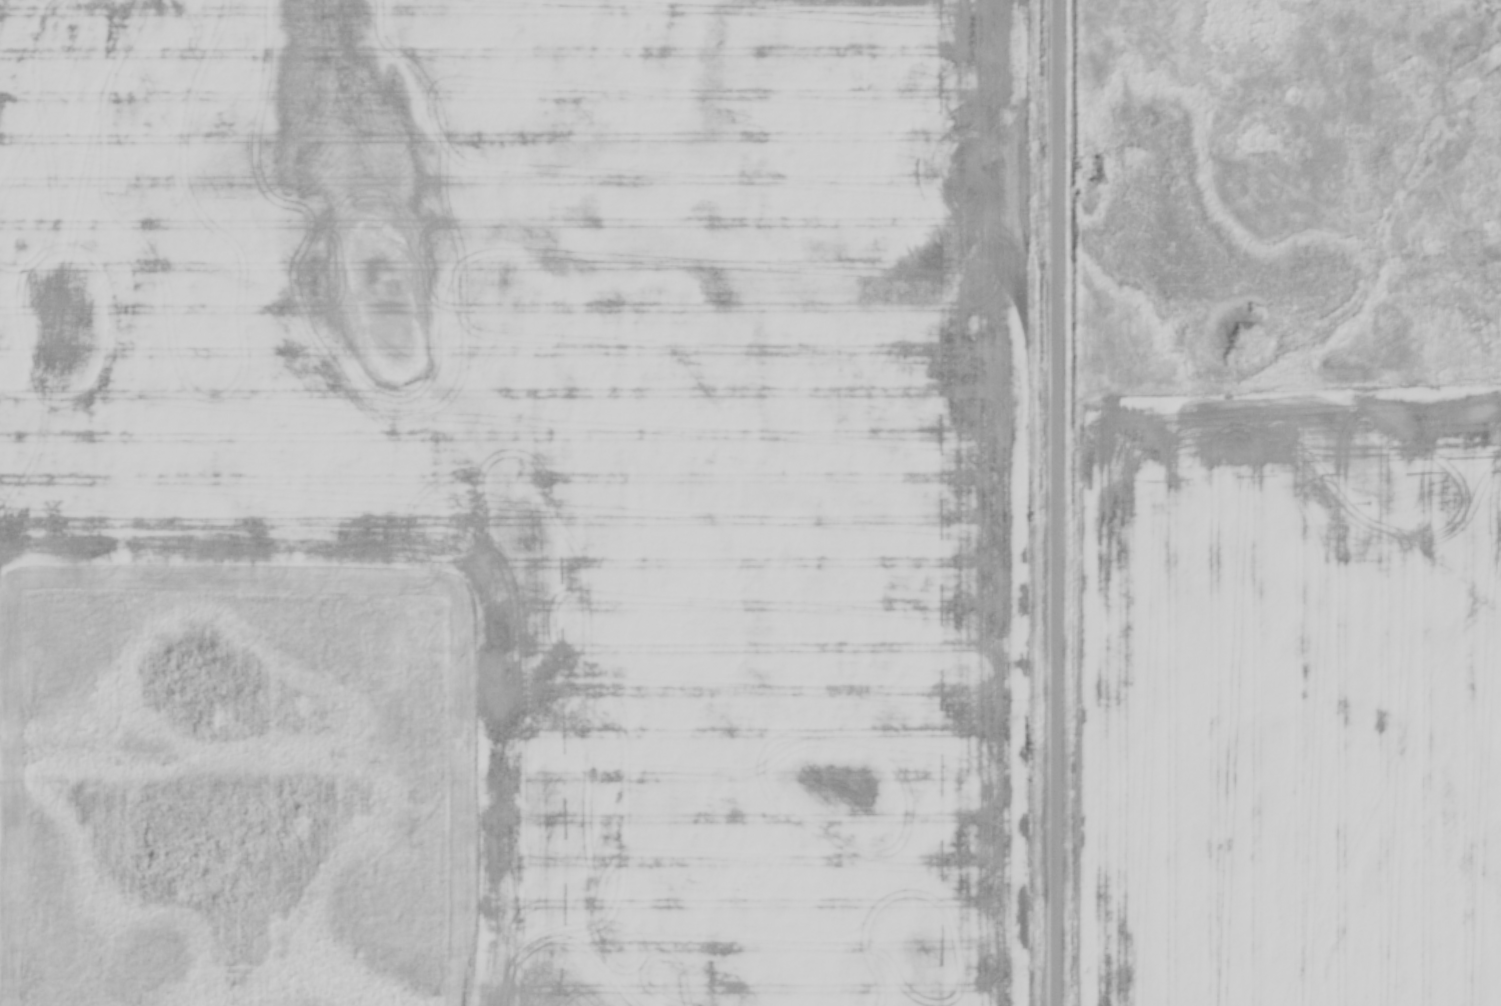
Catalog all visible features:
road: (1057, 502)

